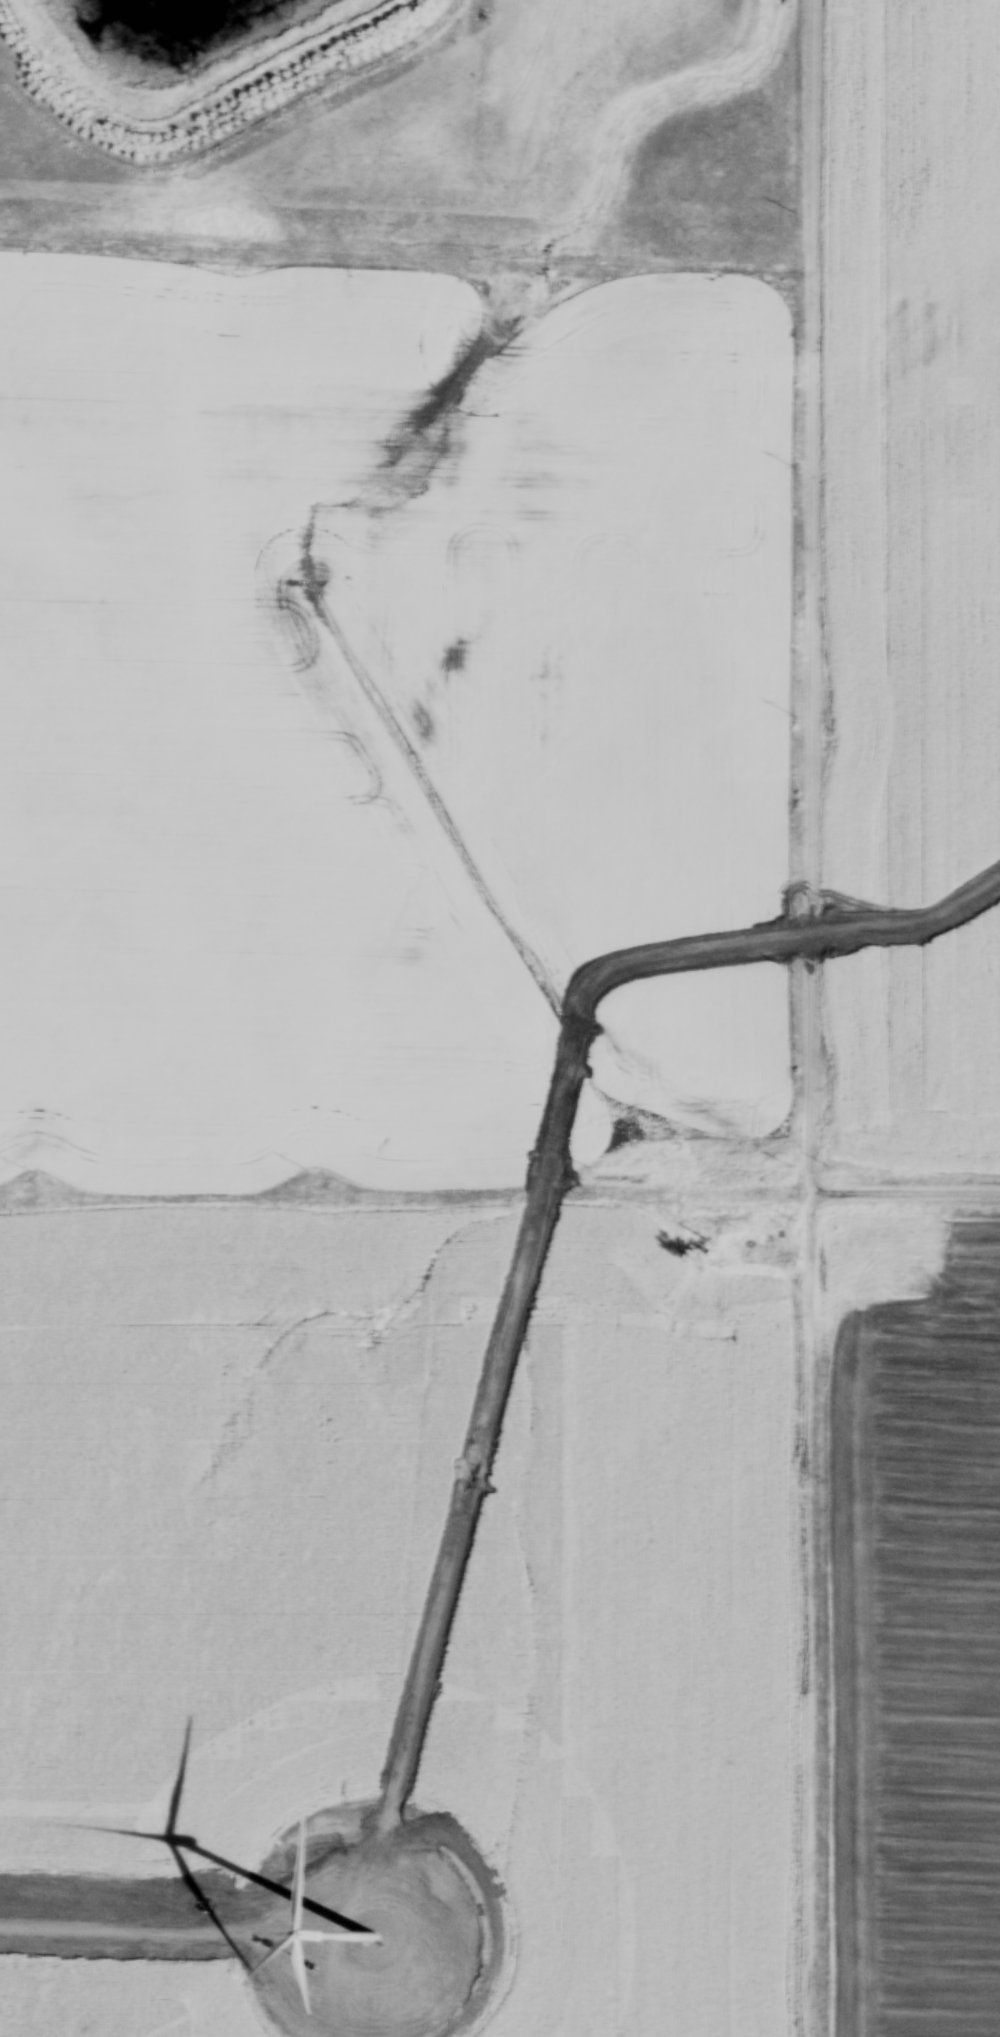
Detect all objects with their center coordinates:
wind turbine: (358, 1918)

